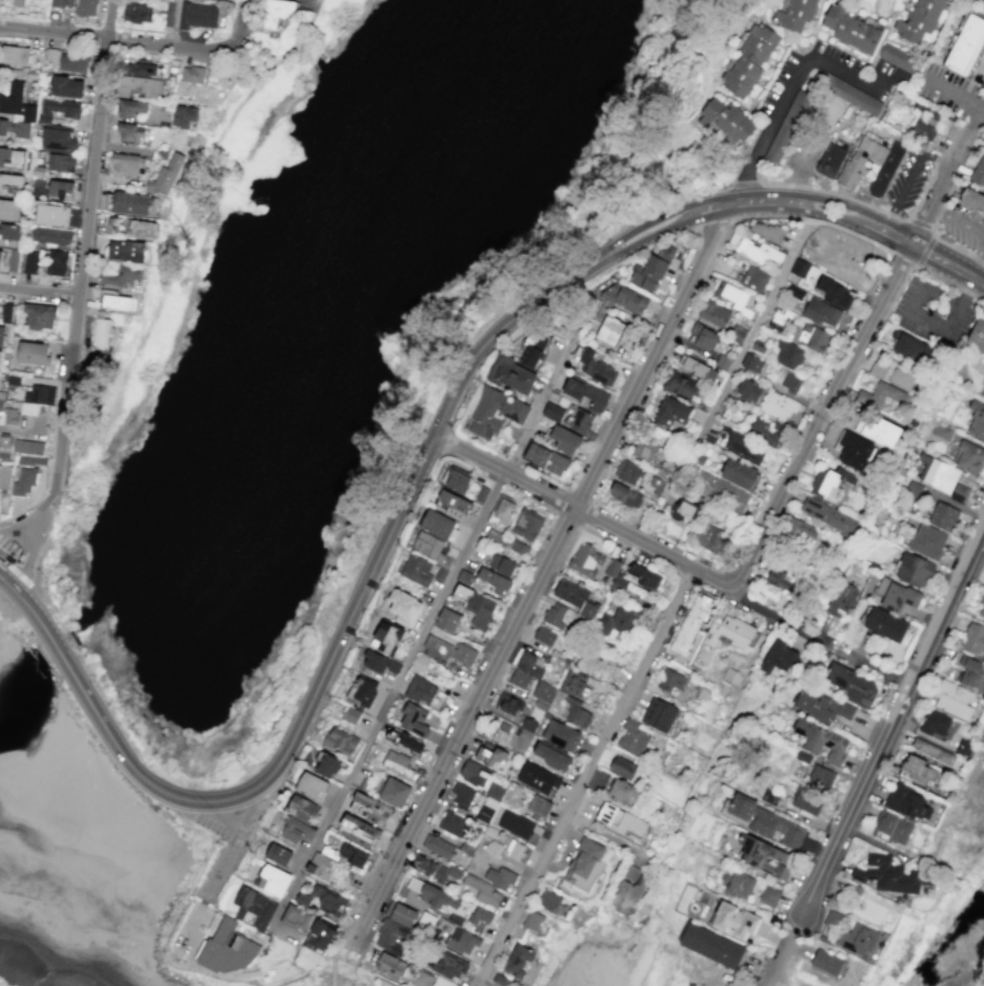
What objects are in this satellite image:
building: (26, 3)
building: (62, 4)
building: (85, 8)
building: (276, 11)
building: (137, 12)
building: (796, 14)
building: (197, 16)
building: (918, 20)
road: (176, 23)
road: (239, 25)
building: (850, 29)
road: (113, 38)
building: (966, 45)
building: (14, 55)
building: (51, 55)
building: (898, 58)
building: (748, 61)
building: (72, 62)
building: (140, 68)
building: (191, 75)
road: (848, 78)
building: (67, 87)
building: (139, 87)
road: (956, 98)
building: (130, 108)
building: (58, 109)
building: (16, 111)
building: (183, 116)
building: (726, 122)
building: (786, 127)
road: (771, 128)
building: (924, 128)
building: (130, 133)
building: (57, 139)
road: (95, 147)
parking lot: (803, 151)
building: (12, 158)
building: (831, 162)
building: (60, 163)
building: (864, 163)
building: (126, 164)
road: (801, 170)
building: (887, 170)
building: (165, 176)
road: (909, 177)
parking lot: (908, 179)
road: (745, 183)
building: (11, 184)
building: (60, 189)
road: (758, 201)
building: (971, 201)
building: (132, 203)
road: (665, 204)
road: (869, 205)
road: (847, 207)
building: (9, 210)
building: (51, 215)
road: (843, 221)
road: (919, 223)
building: (111, 225)
parking lot: (963, 226)
building: (140, 229)
road: (974, 230)
building: (765, 231)
building: (9, 235)
building: (51, 236)
road: (934, 236)
road: (623, 238)
building: (127, 251)
road: (629, 251)
road: (925, 251)
building: (759, 253)
building: (0, 255)
road: (934, 256)
building: (12, 260)
building: (30, 263)
building: (56, 263)
building: (799, 268)
building: (651, 270)
building: (122, 277)
building: (754, 278)
road: (950, 284)
road: (897, 290)
road: (39, 292)
building: (831, 292)
building: (729, 295)
building: (625, 299)
building: (116, 302)
parking lot: (934, 312)
building: (6, 313)
building: (821, 313)
building: (713, 314)
building: (39, 316)
building: (777, 320)
road: (942, 327)
park: (357, 328)
building: (609, 330)
building: (102, 334)
building: (1, 335)
building: (704, 337)
building: (813, 338)
park: (110, 340)
building: (908, 345)
building: (534, 350)
road: (855, 350)
building: (0, 353)
building: (33, 353)
building: (788, 355)
building: (976, 355)
building: (751, 363)
building: (596, 369)
building: (699, 370)
building: (891, 375)
building: (512, 376)
road: (730, 379)
building: (791, 381)
building: (679, 386)
building: (748, 390)
building: (584, 394)
park: (92, 395)
building: (881, 395)
building: (36, 399)
road: (65, 404)
building: (779, 407)
building: (552, 412)
building: (671, 412)
building: (494, 413)
building: (10, 416)
building: (975, 420)
building: (581, 421)
building: (878, 431)
building: (941, 431)
building: (765, 432)
building: (562, 440)
building: (5, 447)
building: (28, 447)
building: (853, 450)
building: (537, 454)
building: (651, 455)
building: (969, 458)
building: (32, 460)
building: (557, 464)
building: (628, 472)
building: (739, 473)
building: (934, 473)
building: (5, 477)
building: (457, 481)
building: (24, 482)
building: (830, 482)
building: (655, 486)
building: (912, 490)
building: (724, 493)
building: (959, 493)
building: (625, 495)
building: (452, 504)
building: (683, 511)
building: (501, 513)
road: (581, 513)
building: (941, 516)
building: (828, 517)
road: (21, 520)
building: (527, 524)
building: (438, 525)
building: (800, 531)
building: (494, 535)
building: (710, 539)
building: (927, 541)
parking lot: (7, 546)
building: (429, 546)
road: (28, 547)
building: (519, 548)
building: (586, 560)
building: (502, 565)
building: (416, 570)
building: (912, 570)
building: (643, 576)
building: (615, 577)
road: (540, 580)
building: (781, 580)
building: (494, 582)
building: (896, 595)
building: (576, 597)
building: (840, 600)
building: (475, 606)
building: (404, 607)
building: (556, 614)
road: (781, 617)
building: (447, 620)
building: (620, 620)
building: (884, 624)
building: (691, 625)
road: (425, 628)
building: (732, 633)
building: (544, 635)
building: (386, 638)
building: (973, 639)
building: (446, 650)
building: (778, 659)
building: (375, 661)
building: (419, 664)
building: (531, 665)
road: (871, 666)
building: (969, 672)
building: (730, 676)
building: (519, 679)
building: (576, 684)
building: (673, 684)
building: (851, 685)
building: (361, 691)
building: (420, 691)
building: (543, 695)
building: (954, 700)
road: (309, 702)
building: (508, 704)
building: (821, 705)
building: (576, 714)
building: (350, 715)
building: (659, 715)
building: (413, 718)
building: (934, 723)
building: (523, 735)
building: (561, 735)
building: (632, 738)
building: (340, 741)
building: (822, 741)
building: (403, 742)
building: (964, 748)
building: (932, 751)
building: (491, 755)
road: (875, 756)
building: (550, 757)
building: (326, 764)
building: (397, 764)
building: (622, 767)
building: (917, 770)
building: (474, 774)
road: (584, 778)
building: (537, 779)
building: (821, 779)
road: (972, 782)
building: (311, 786)
building: (620, 791)
building: (393, 792)
building: (462, 795)
building: (511, 796)
building: (770, 797)
building: (492, 798)
building: (807, 801)
building: (907, 802)
building: (539, 805)
building: (369, 808)
building: (302, 809)
building: (620, 820)
building: (764, 822)
building: (454, 824)
building: (515, 825)
building: (893, 827)
building: (289, 829)
building: (357, 831)
road: (233, 843)
road: (979, 845)
building: (437, 846)
building: (492, 849)
building: (514, 850)
building: (278, 854)
building: (352, 855)
building: (763, 857)
building: (318, 866)
building: (584, 867)
building: (630, 873)
building: (892, 875)
building: (500, 878)
building: (272, 880)
building: (739, 885)
building: (483, 891)
building: (430, 894)
building: (769, 896)
building: (321, 900)
building: (551, 903)
building: (253, 907)
building: (399, 913)
building: (479, 916)
building: (295, 917)
building: (832, 919)
building: (531, 921)
building: (735, 921)
road: (190, 927)
building: (319, 936)
building: (391, 937)
building: (856, 939)
building: (461, 941)
building: (711, 946)
building: (229, 949)
road: (333, 958)
road: (342, 960)
building: (517, 961)
building: (827, 963)
building: (445, 965)
building: (389, 966)
road: (781, 976)
building: (421, 979)
building: (499, 980)
building: (412, 985)

